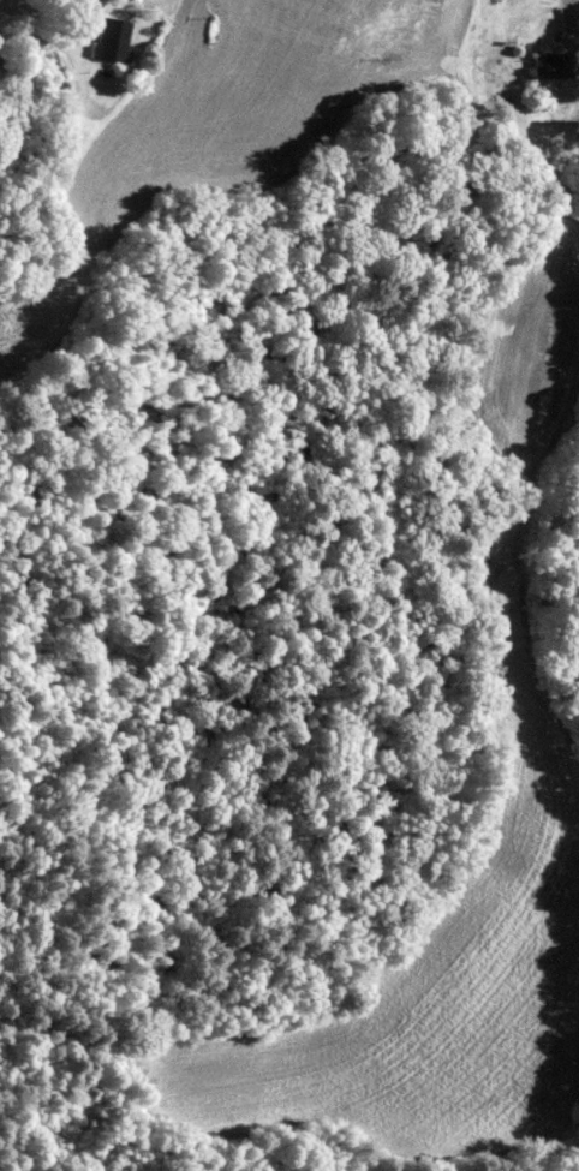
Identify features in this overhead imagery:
building: (107, 41)
building: (549, 66)
road: (572, 91)

